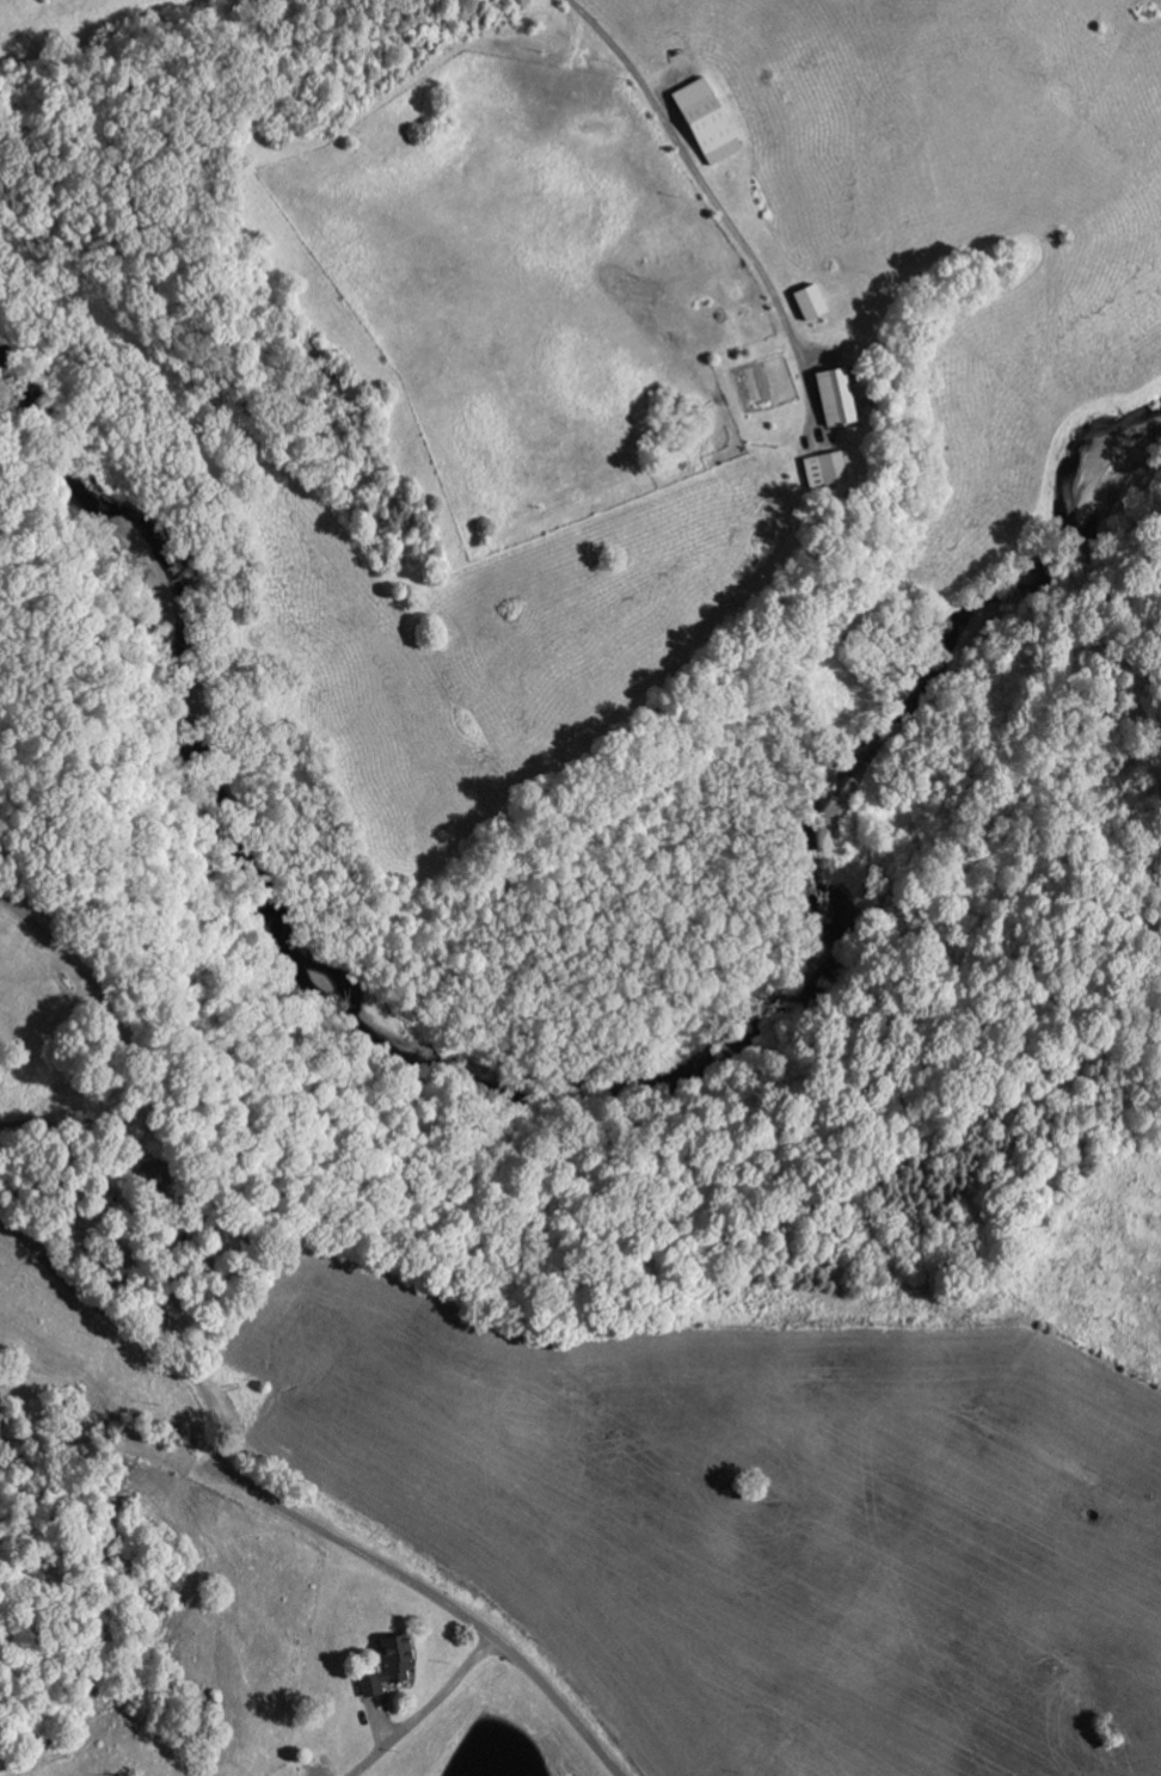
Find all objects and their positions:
building: (706, 119)
building: (810, 300)
building: (835, 395)
building: (824, 468)
road: (379, 1561)
building: (389, 1663)
road: (580, 1726)

